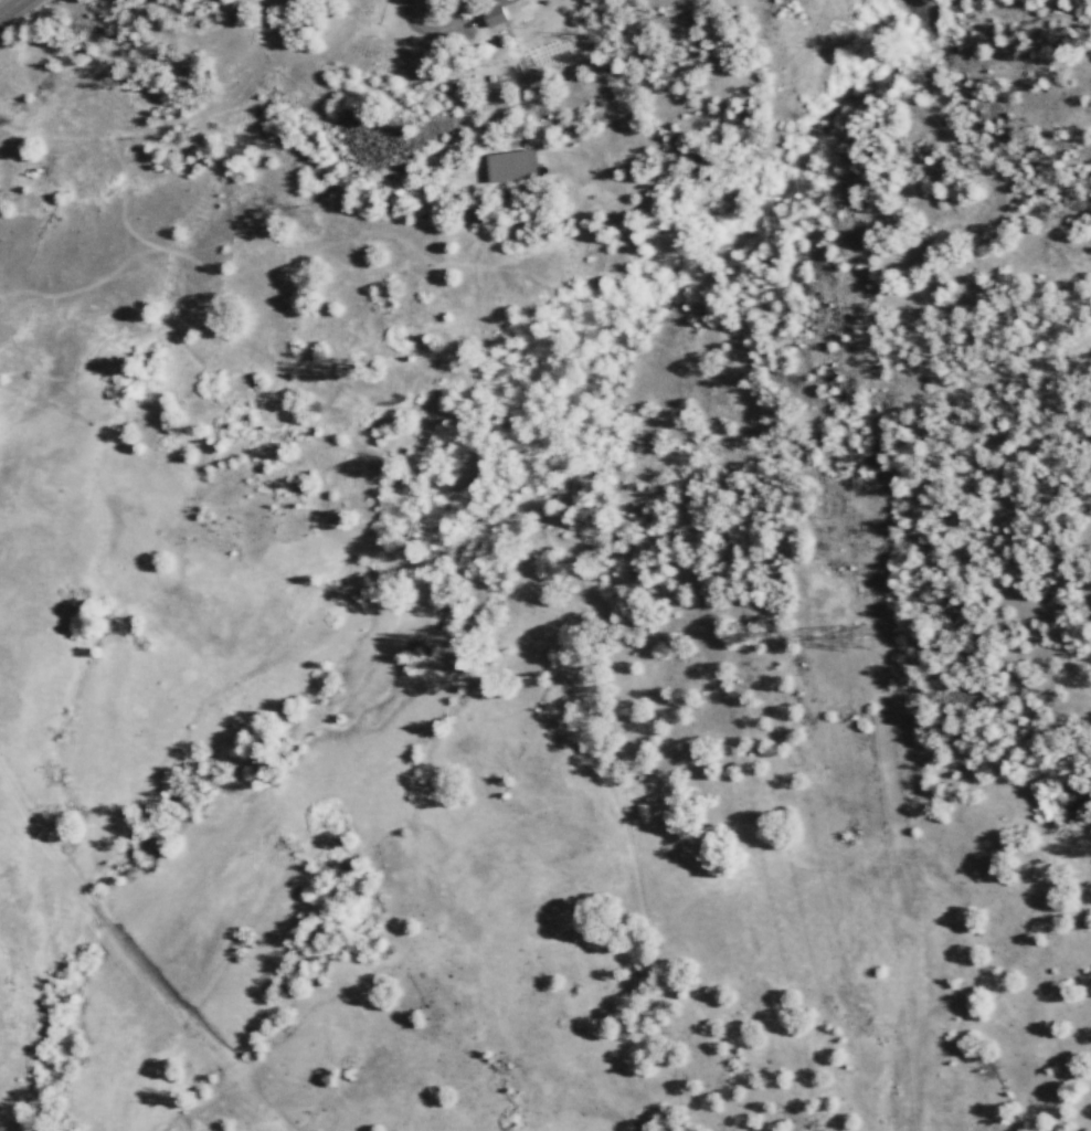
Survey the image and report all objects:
road: (8, 6)
building: (497, 12)
building: (510, 165)
power tower: (848, 651)
road: (134, 958)

